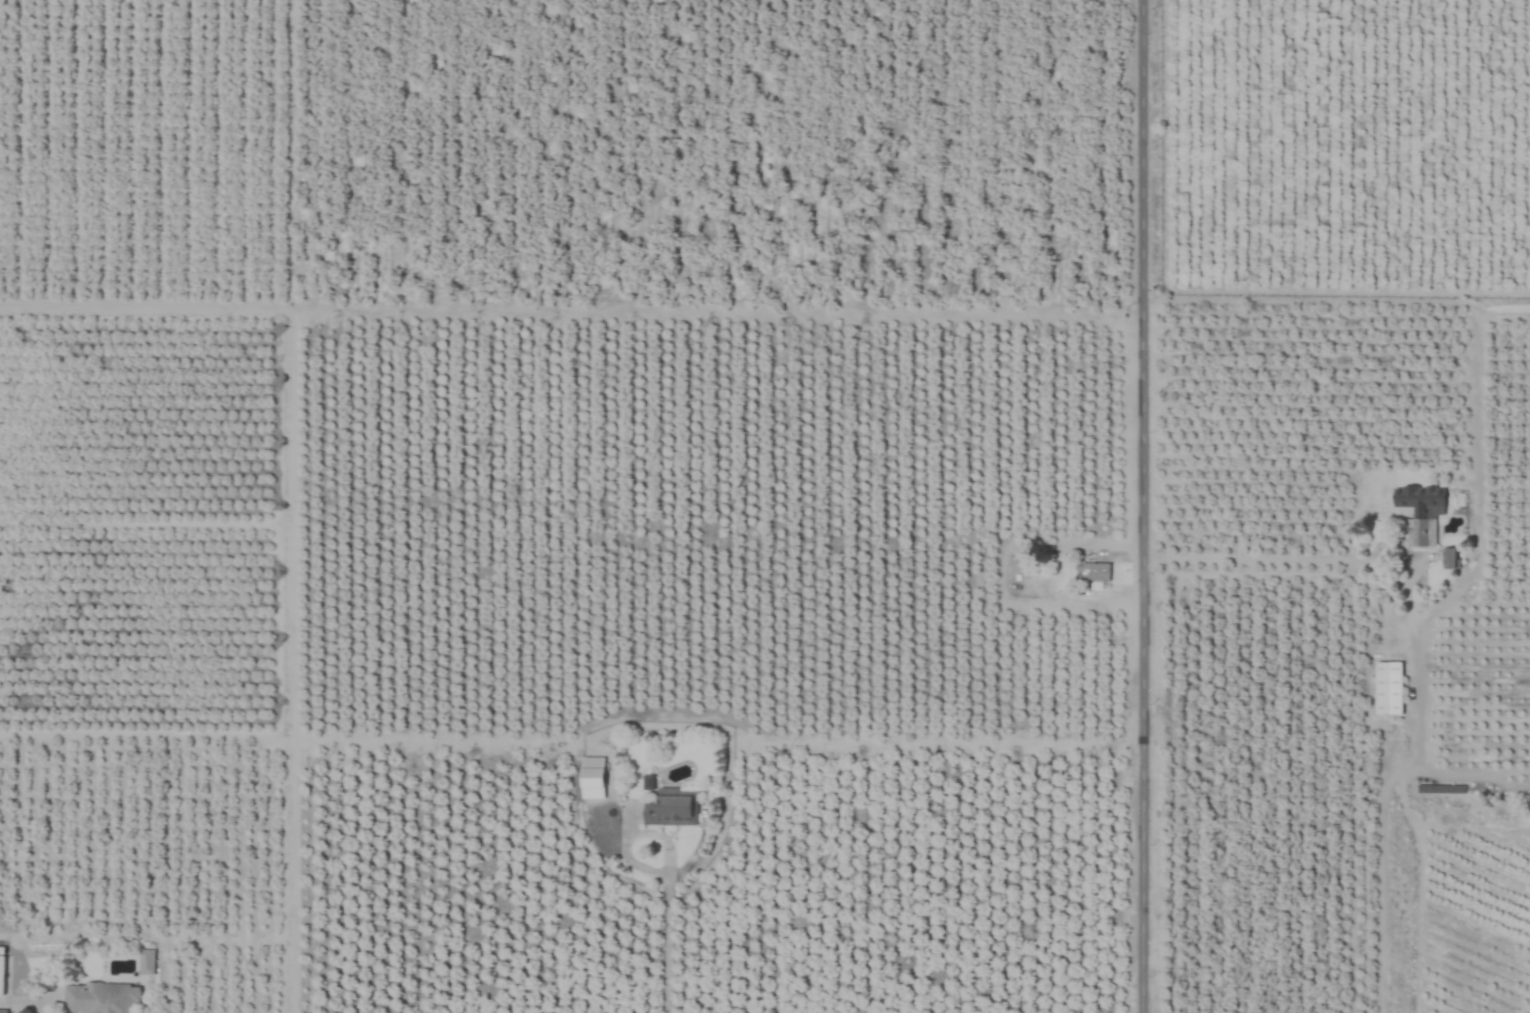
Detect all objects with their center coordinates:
road: (1146, 506)
building: (1420, 532)
road: (1273, 558)
building: (1450, 558)
building: (1092, 572)
road: (998, 573)
building: (1388, 688)
building: (671, 808)
road: (665, 928)
building: (146, 961)
building: (1, 971)
building: (101, 998)
road: (22, 1003)
building: (3, 1011)

